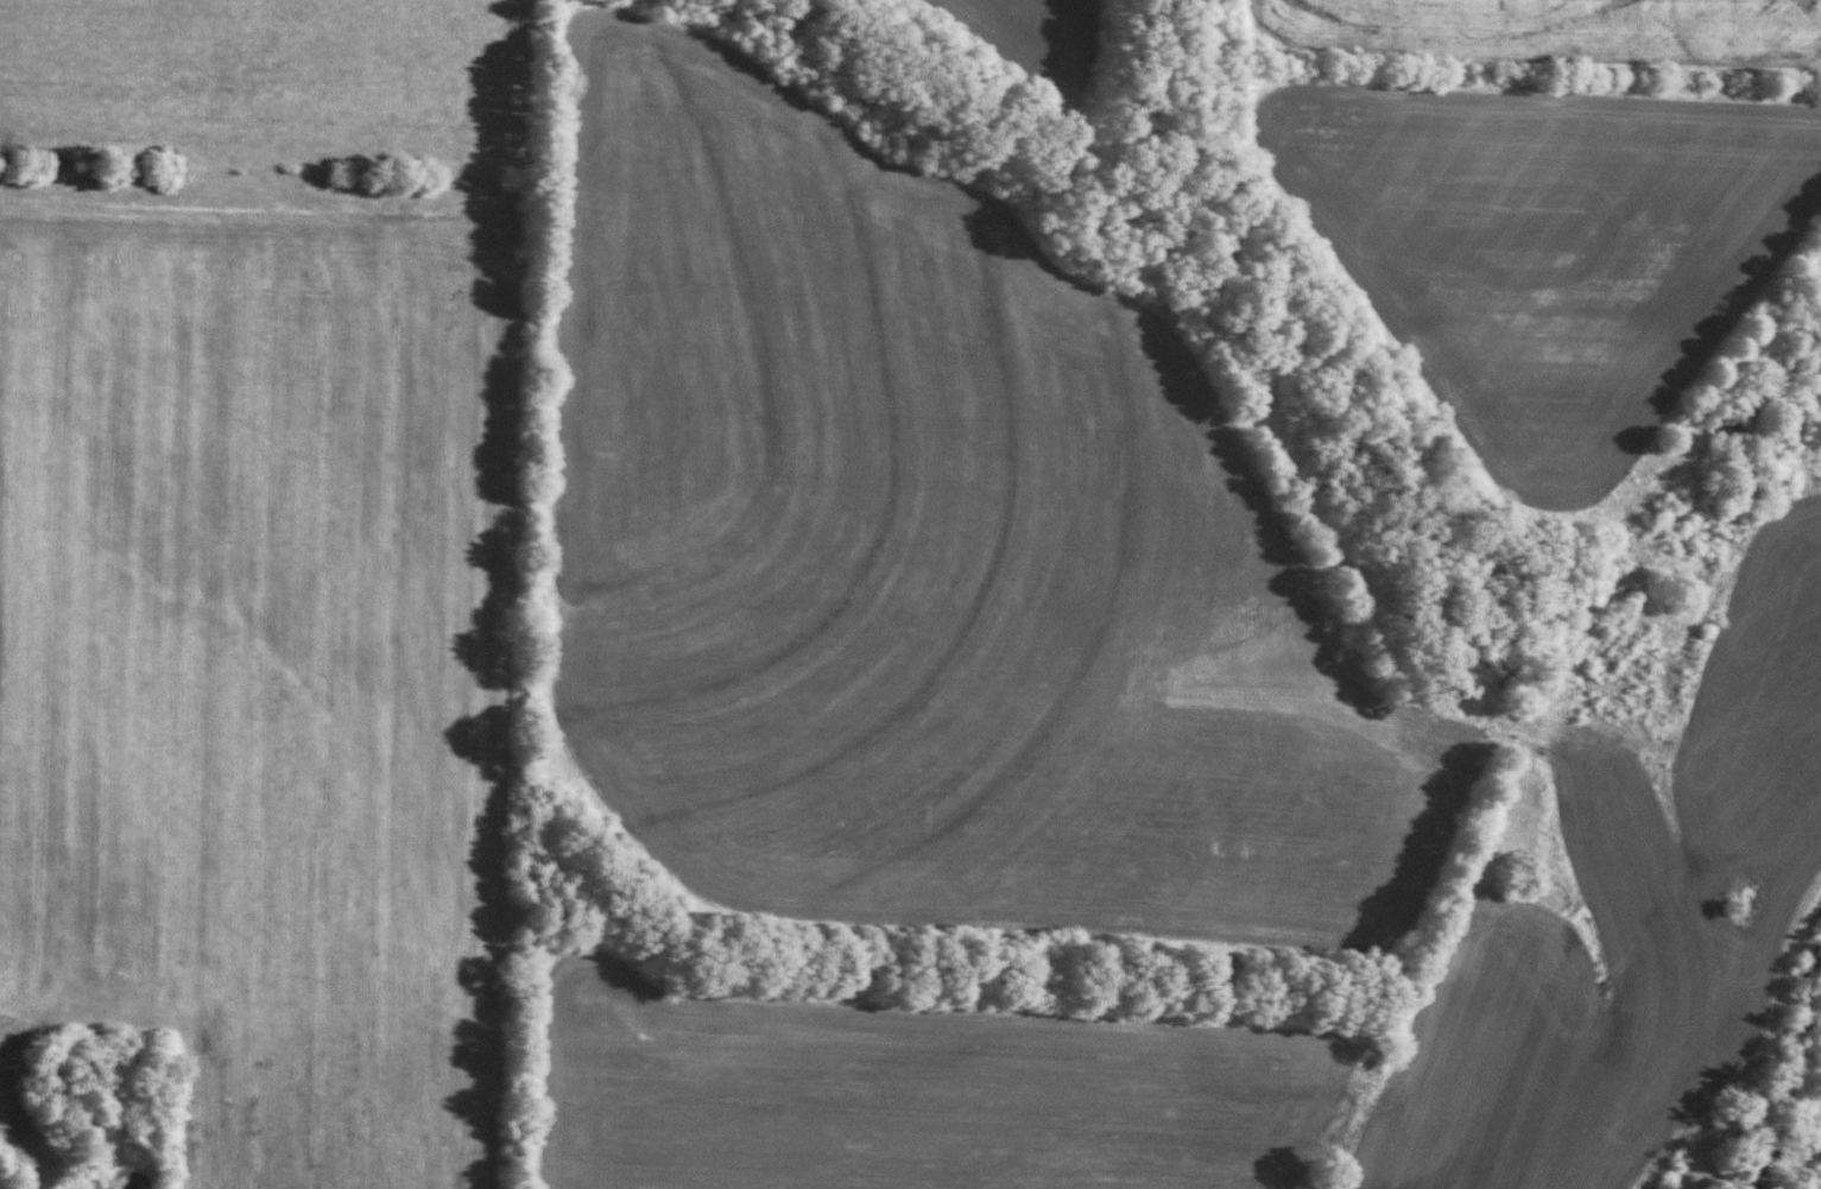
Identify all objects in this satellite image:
road: (1619, 736)

